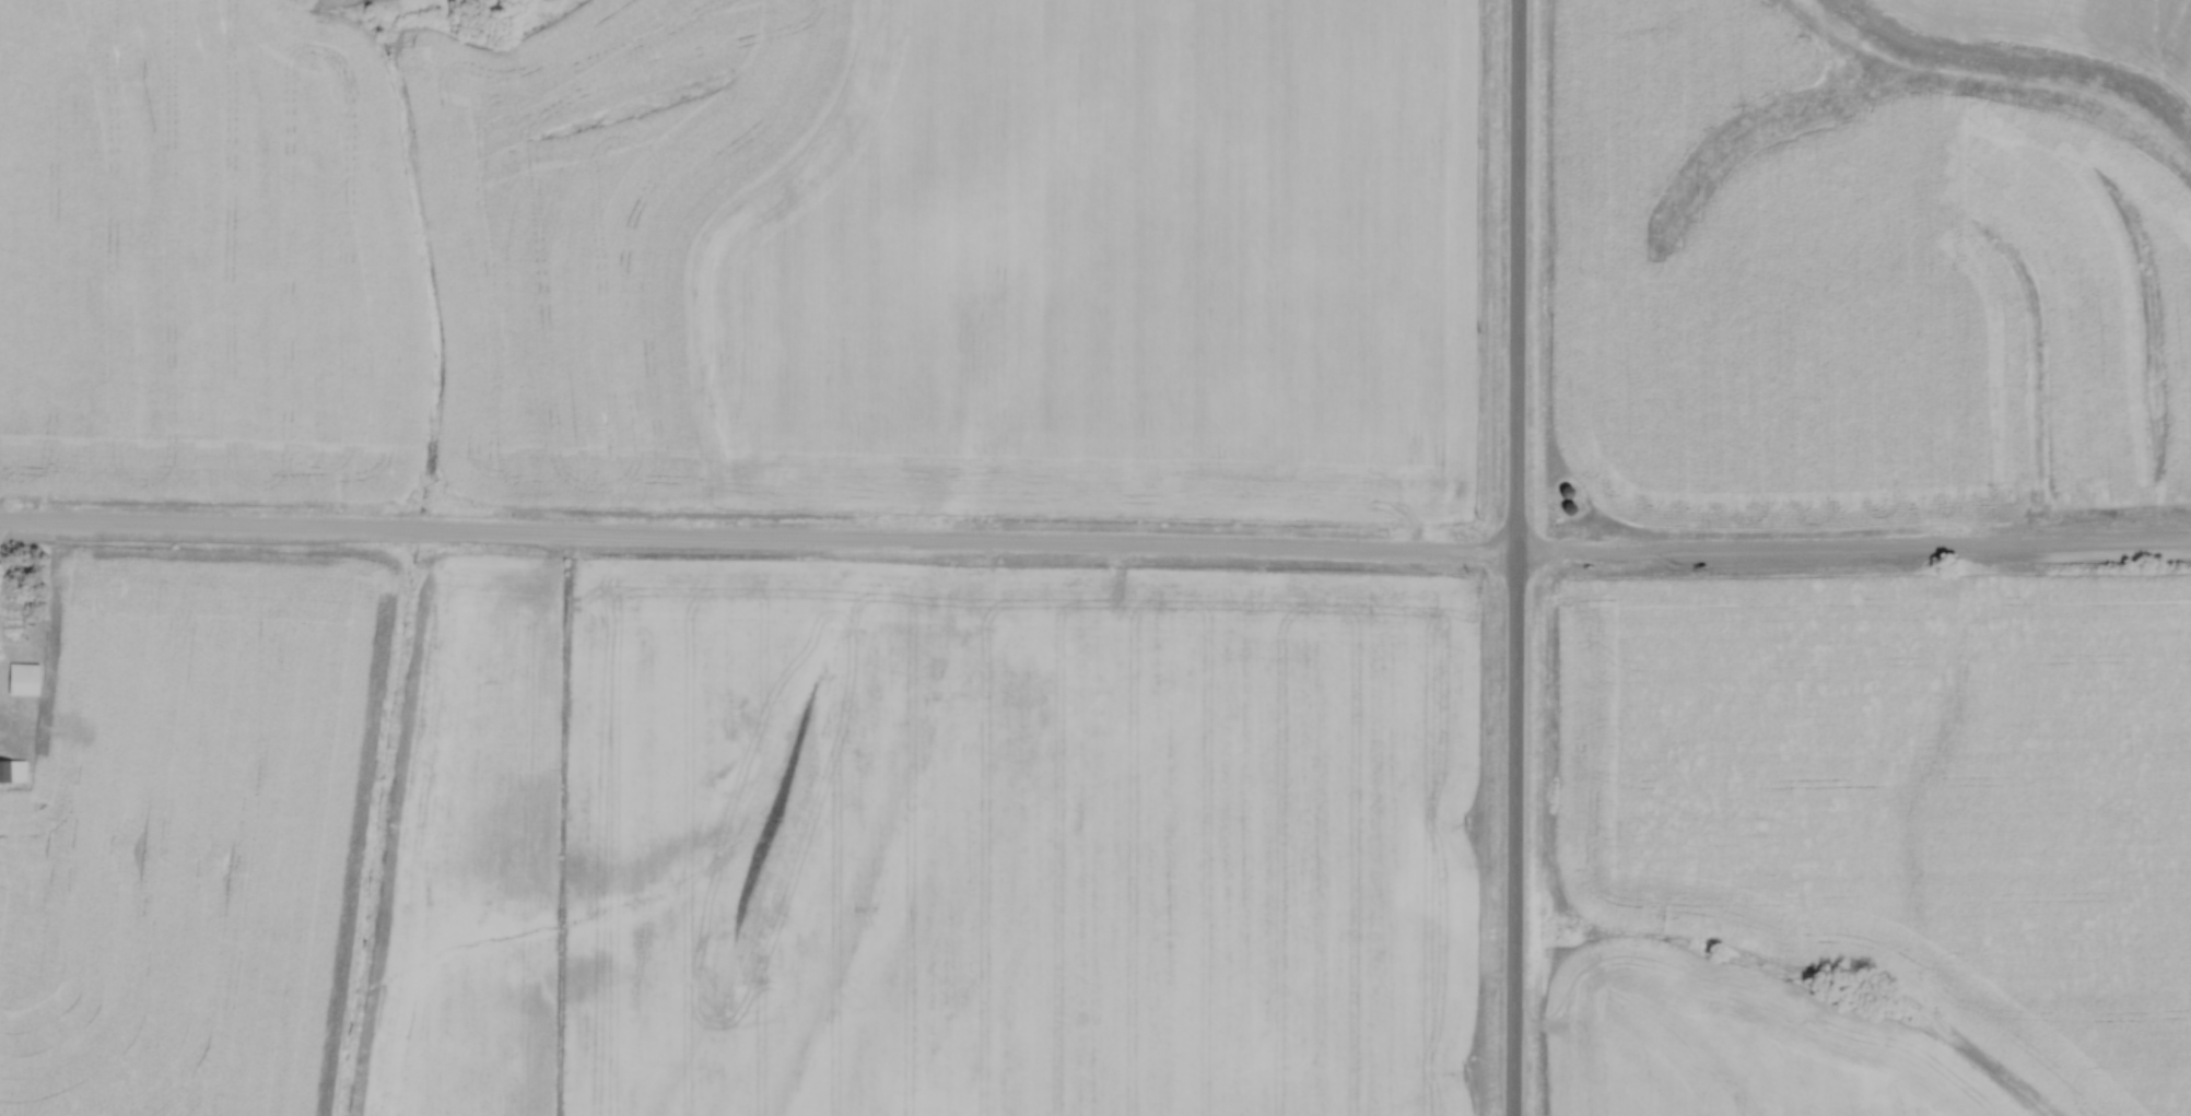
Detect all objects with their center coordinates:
road: (1094, 549)
road: (1513, 557)
building: (23, 679)
building: (13, 770)

